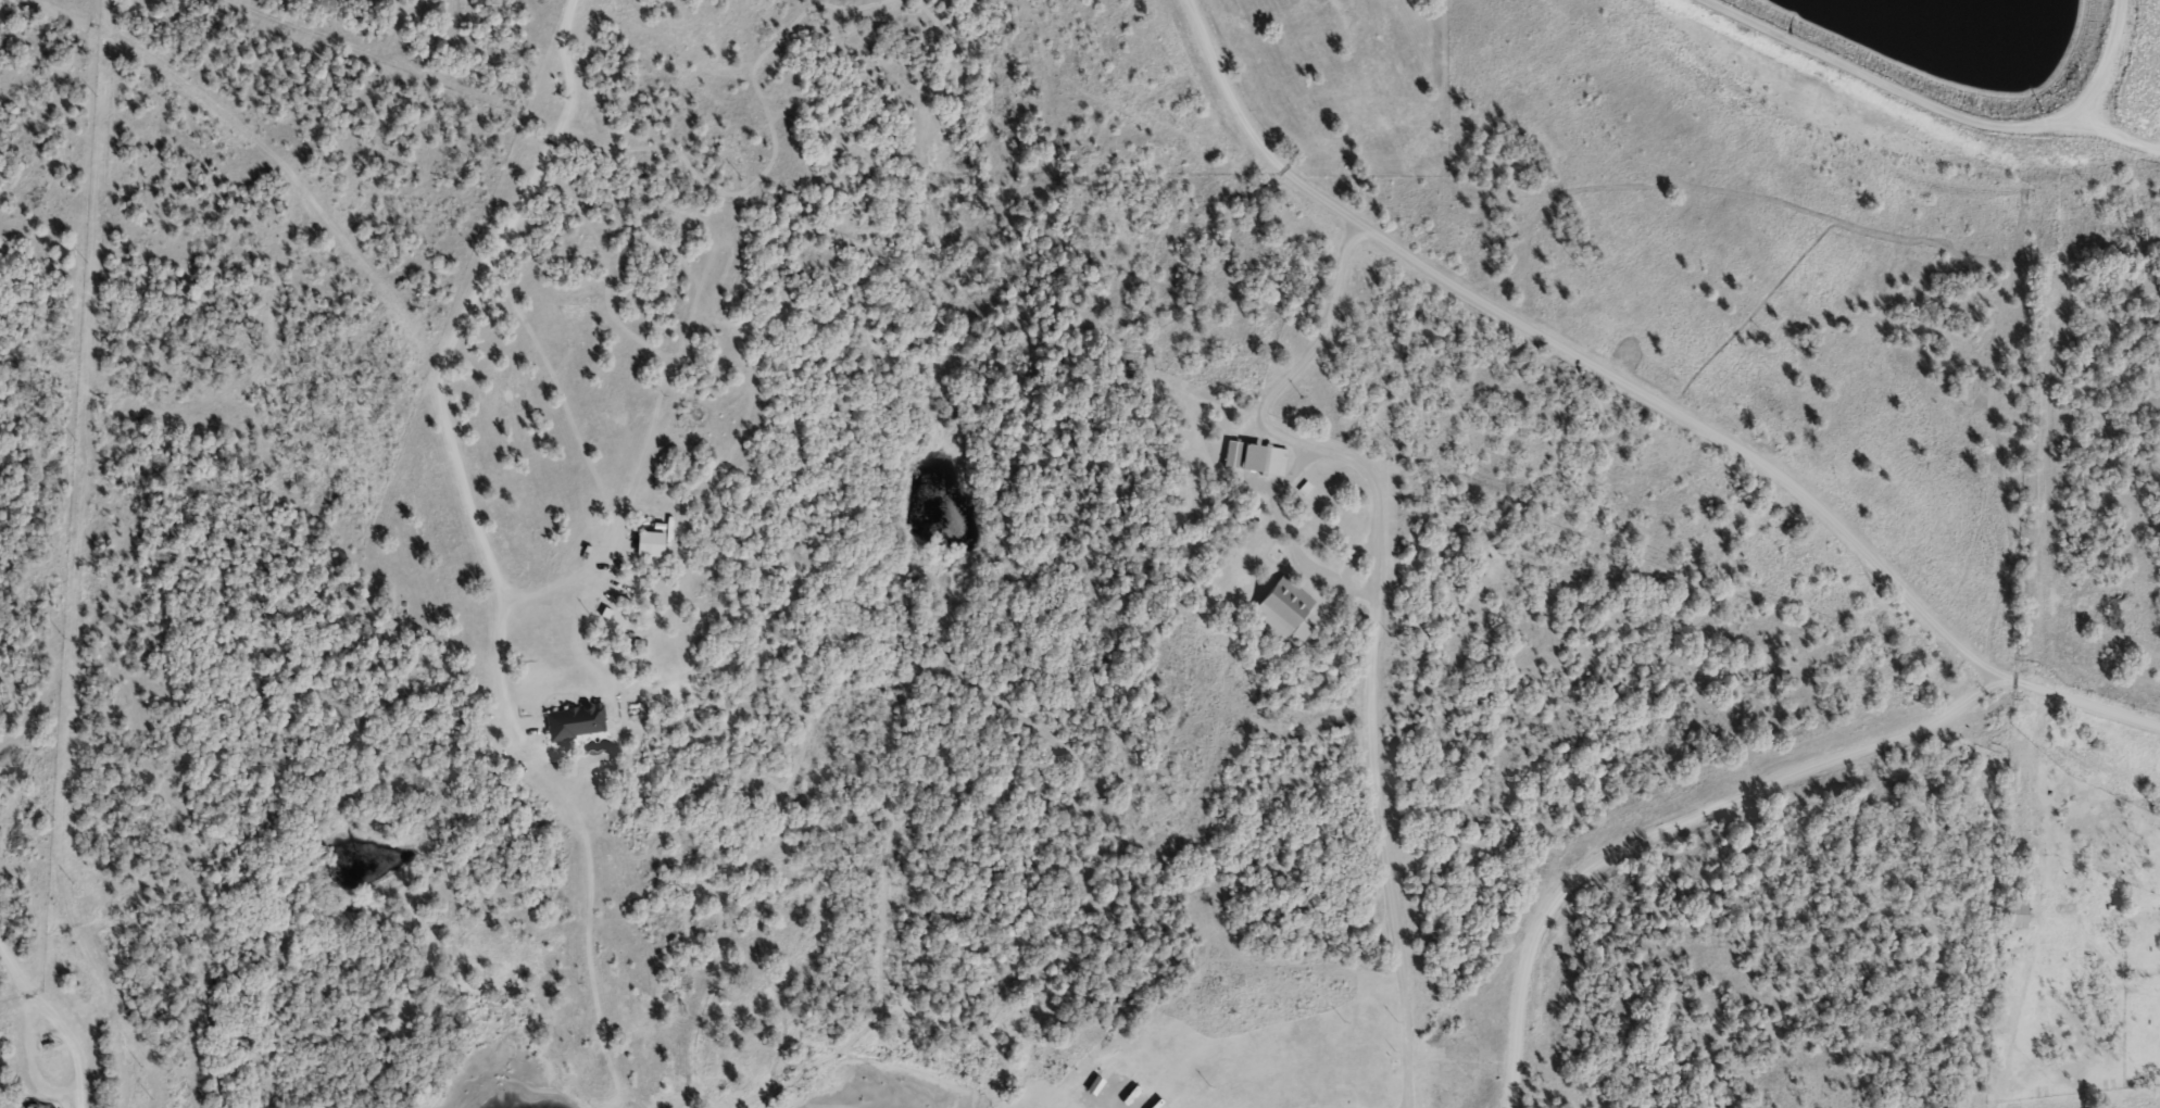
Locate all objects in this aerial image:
road: (73, 18)
road: (526, 194)
road: (398, 309)
road: (1644, 394)
road: (1263, 425)
building: (1244, 455)
building: (650, 542)
building: (1283, 607)
road: (896, 702)
building: (575, 720)
road: (1675, 826)
road: (1382, 847)
building: (2013, 911)
road: (56, 1021)
road: (378, 1104)

